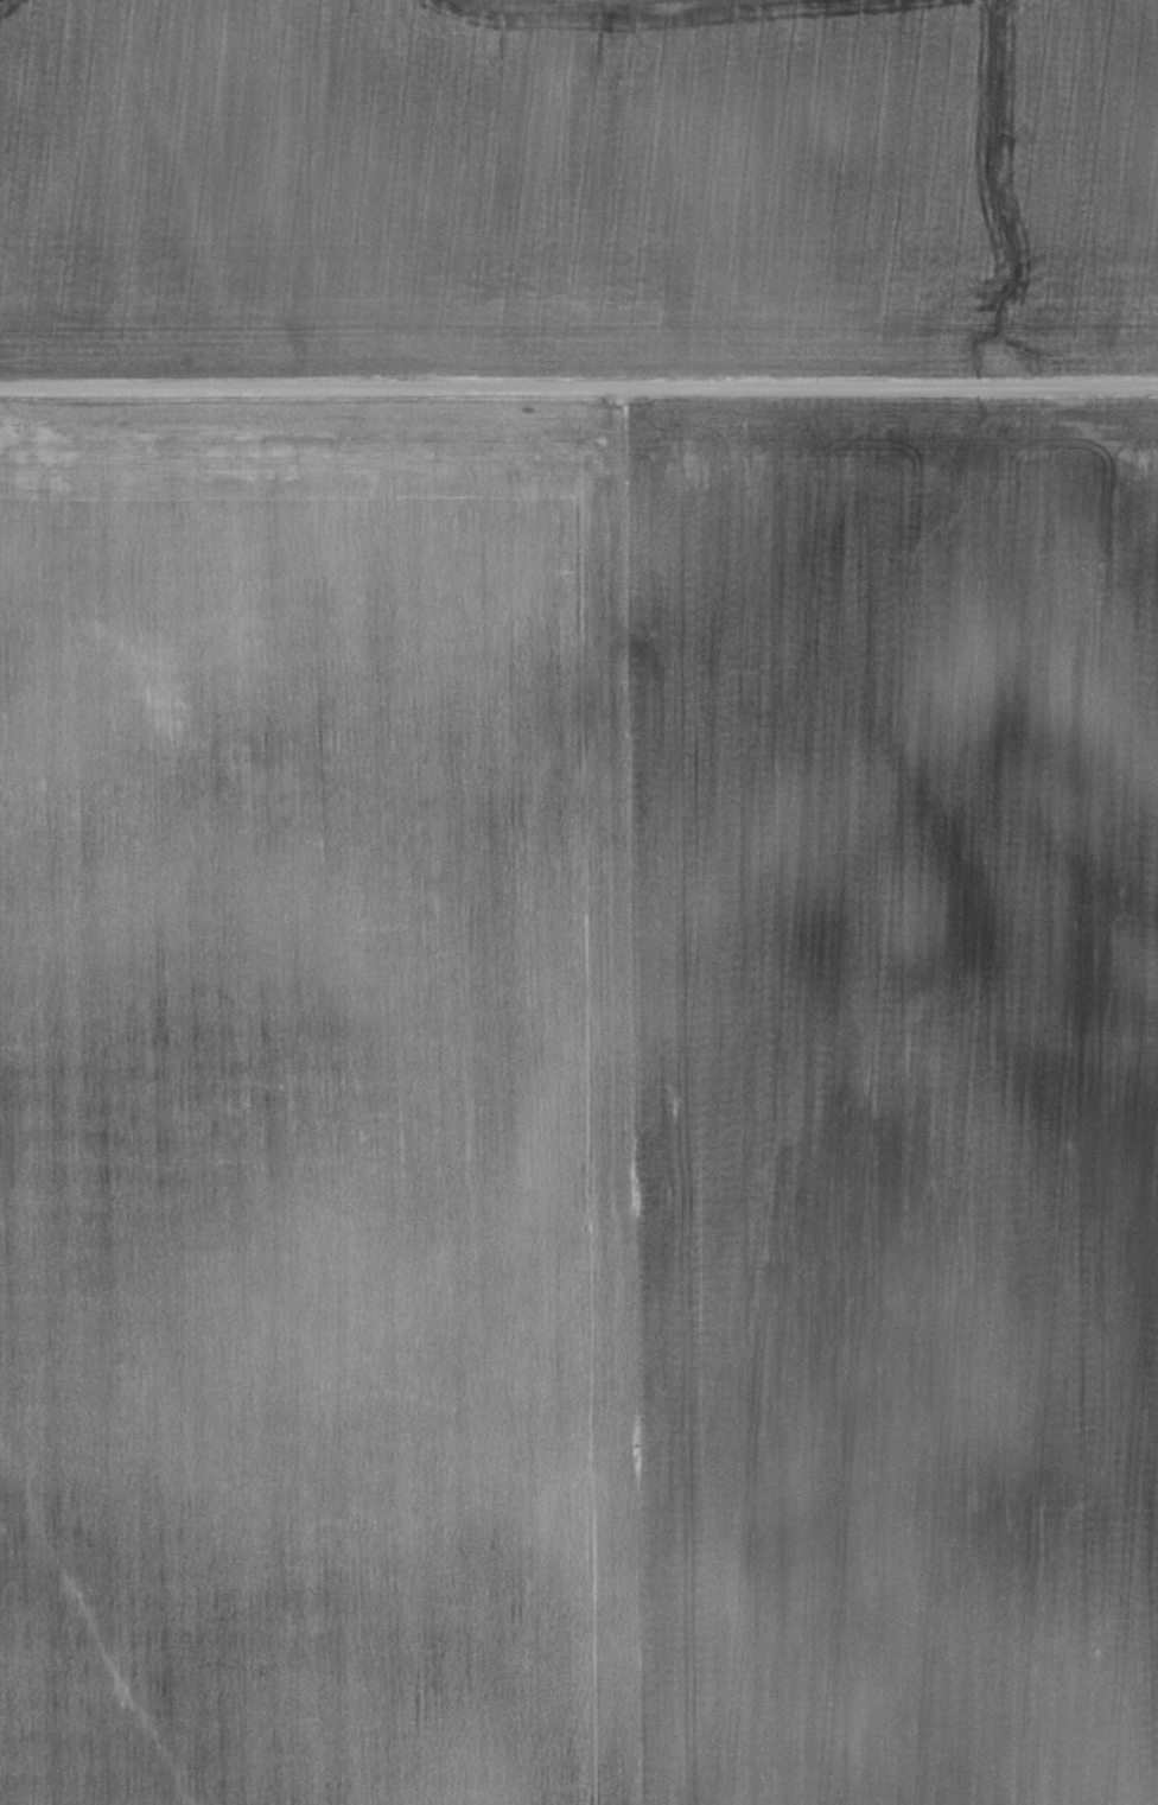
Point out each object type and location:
road: (579, 387)

